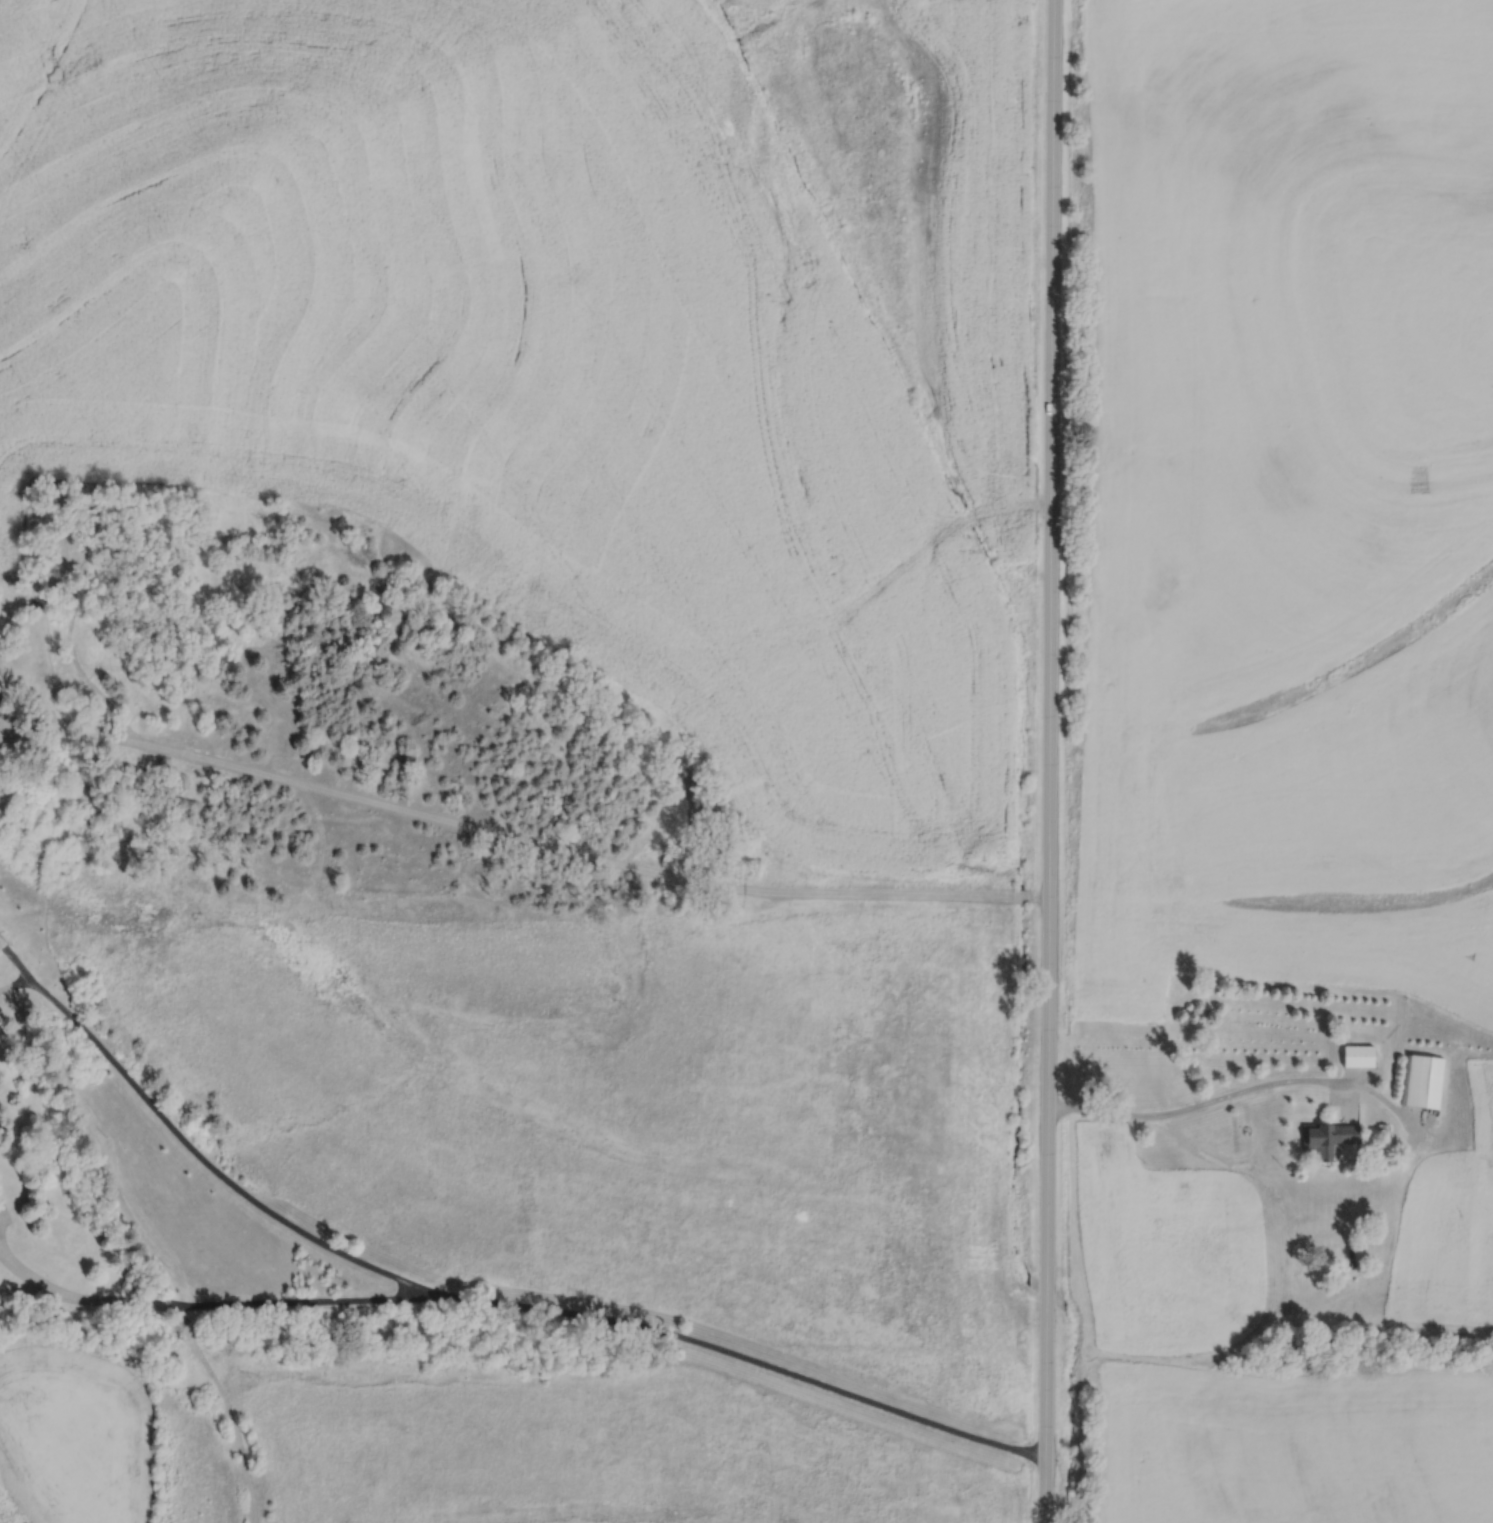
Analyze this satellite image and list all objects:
road: (4, 609)
road: (1048, 761)
road: (503, 833)
road: (1020, 895)
road: (1038, 895)
road: (1, 944)
road: (13, 982)
building: (1357, 1055)
building: (1421, 1080)
road: (1239, 1090)
building: (1381, 1127)
building: (1327, 1136)
building: (1180, 1193)
road: (3, 1212)
building: (1308, 1286)
road: (76, 1296)
road: (469, 1298)
road: (299, 1299)
road: (228, 1409)

